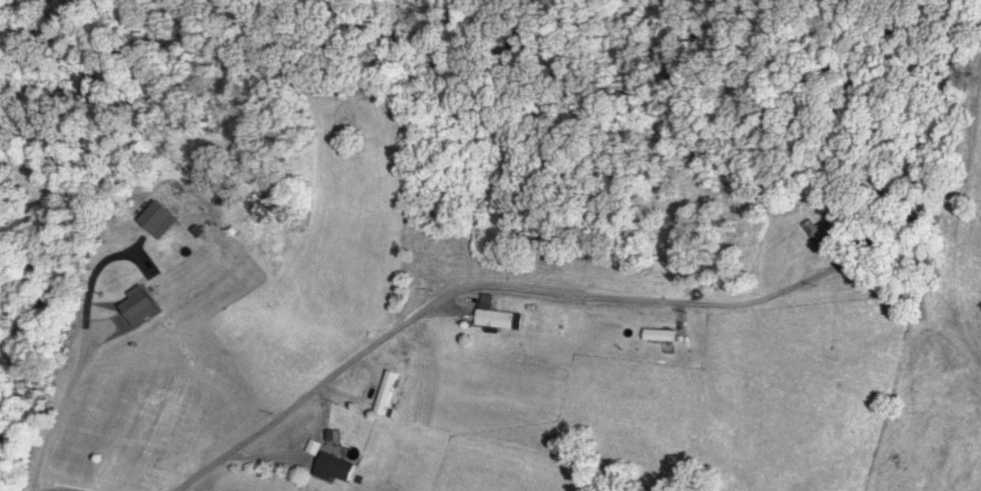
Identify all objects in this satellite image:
building: (140, 307)
building: (494, 314)
building: (659, 334)
building: (333, 467)

